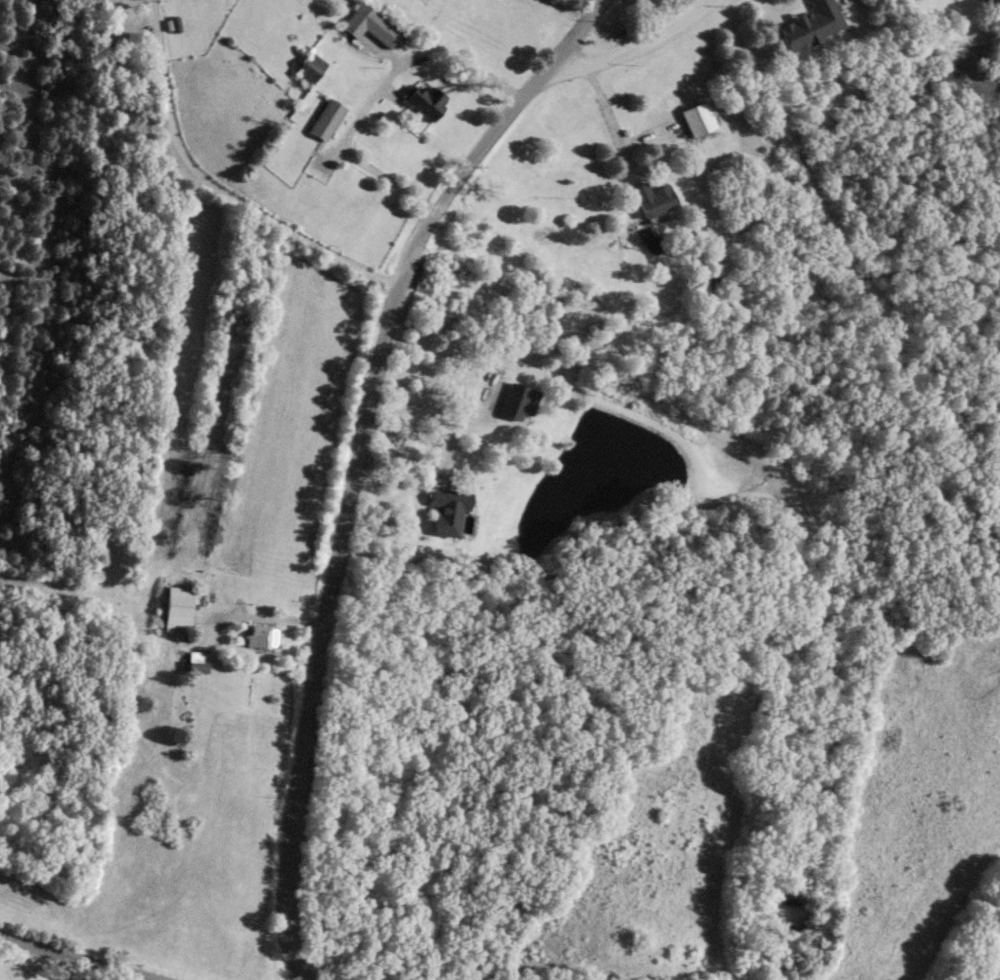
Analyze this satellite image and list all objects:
building: (811, 23)
building: (369, 24)
road: (632, 50)
building: (308, 67)
road: (374, 93)
building: (425, 99)
building: (697, 118)
building: (325, 119)
road: (215, 187)
building: (652, 197)
building: (516, 400)
road: (423, 412)
road: (358, 462)
building: (446, 509)
building: (178, 606)
building: (259, 634)
building: (198, 661)
road: (79, 957)

